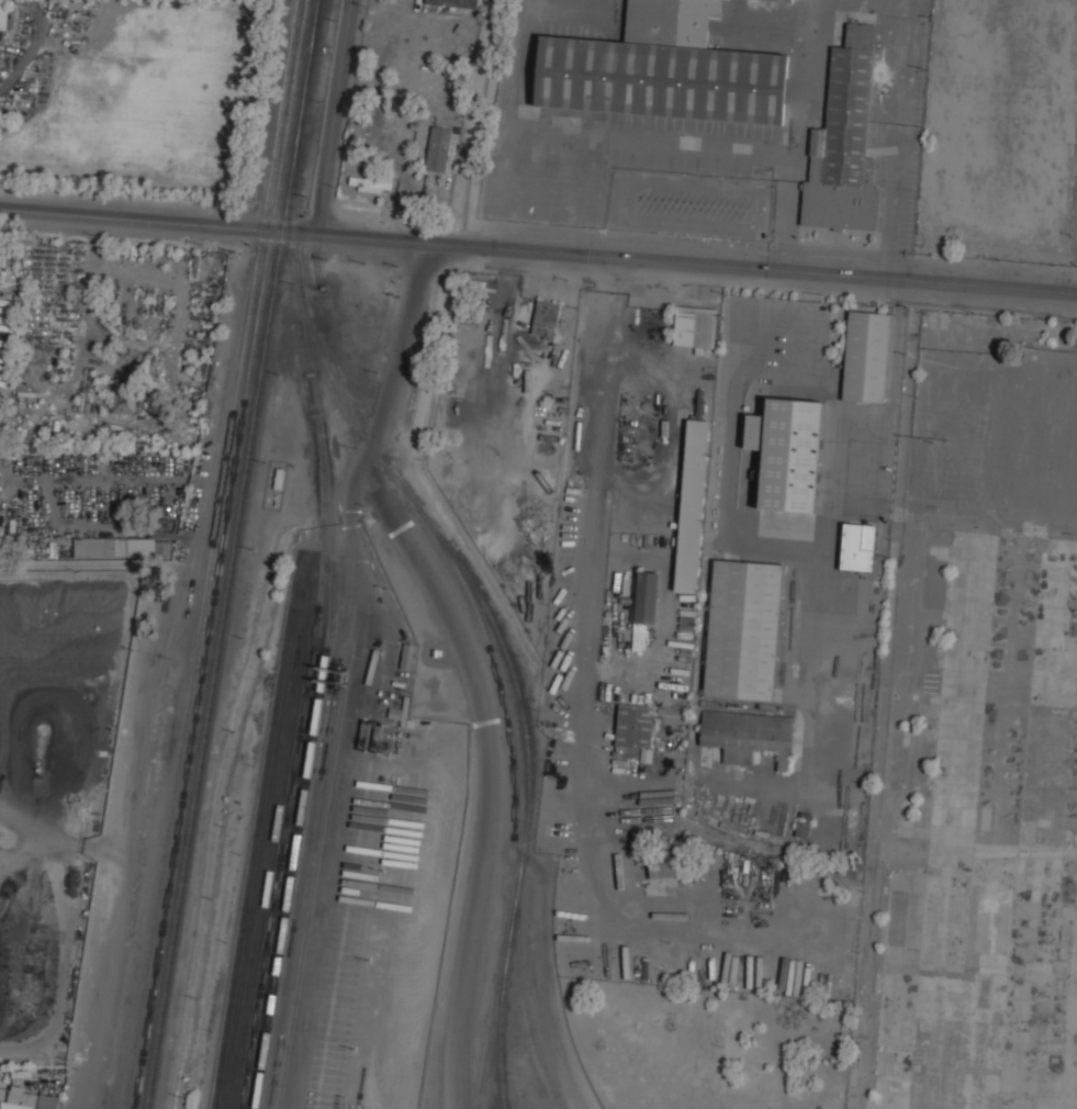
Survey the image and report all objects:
building: (783, 0)
building: (452, 2)
building: (2, 12)
railway: (314, 24)
railway: (316, 24)
railway: (308, 68)
building: (664, 69)
road: (798, 76)
railway: (296, 77)
road: (336, 117)
railway: (301, 122)
building: (843, 142)
building: (438, 149)
road: (765, 150)
building: (371, 184)
road: (142, 217)
road: (680, 264)
building: (545, 318)
building: (694, 326)
railway: (313, 329)
building: (865, 356)
building: (124, 396)
building: (787, 451)
road: (605, 473)
building: (692, 505)
building: (122, 545)
building: (857, 546)
road: (801, 553)
railway: (213, 554)
road: (367, 587)
building: (646, 596)
building: (742, 629)
railway: (210, 630)
railway: (222, 631)
building: (407, 657)
road: (464, 661)
railway: (319, 694)
building: (632, 728)
building: (747, 735)
road: (137, 784)
road: (583, 795)
railway: (528, 796)
railway: (516, 797)
building: (672, 864)
railway: (503, 988)
building: (27, 1099)

